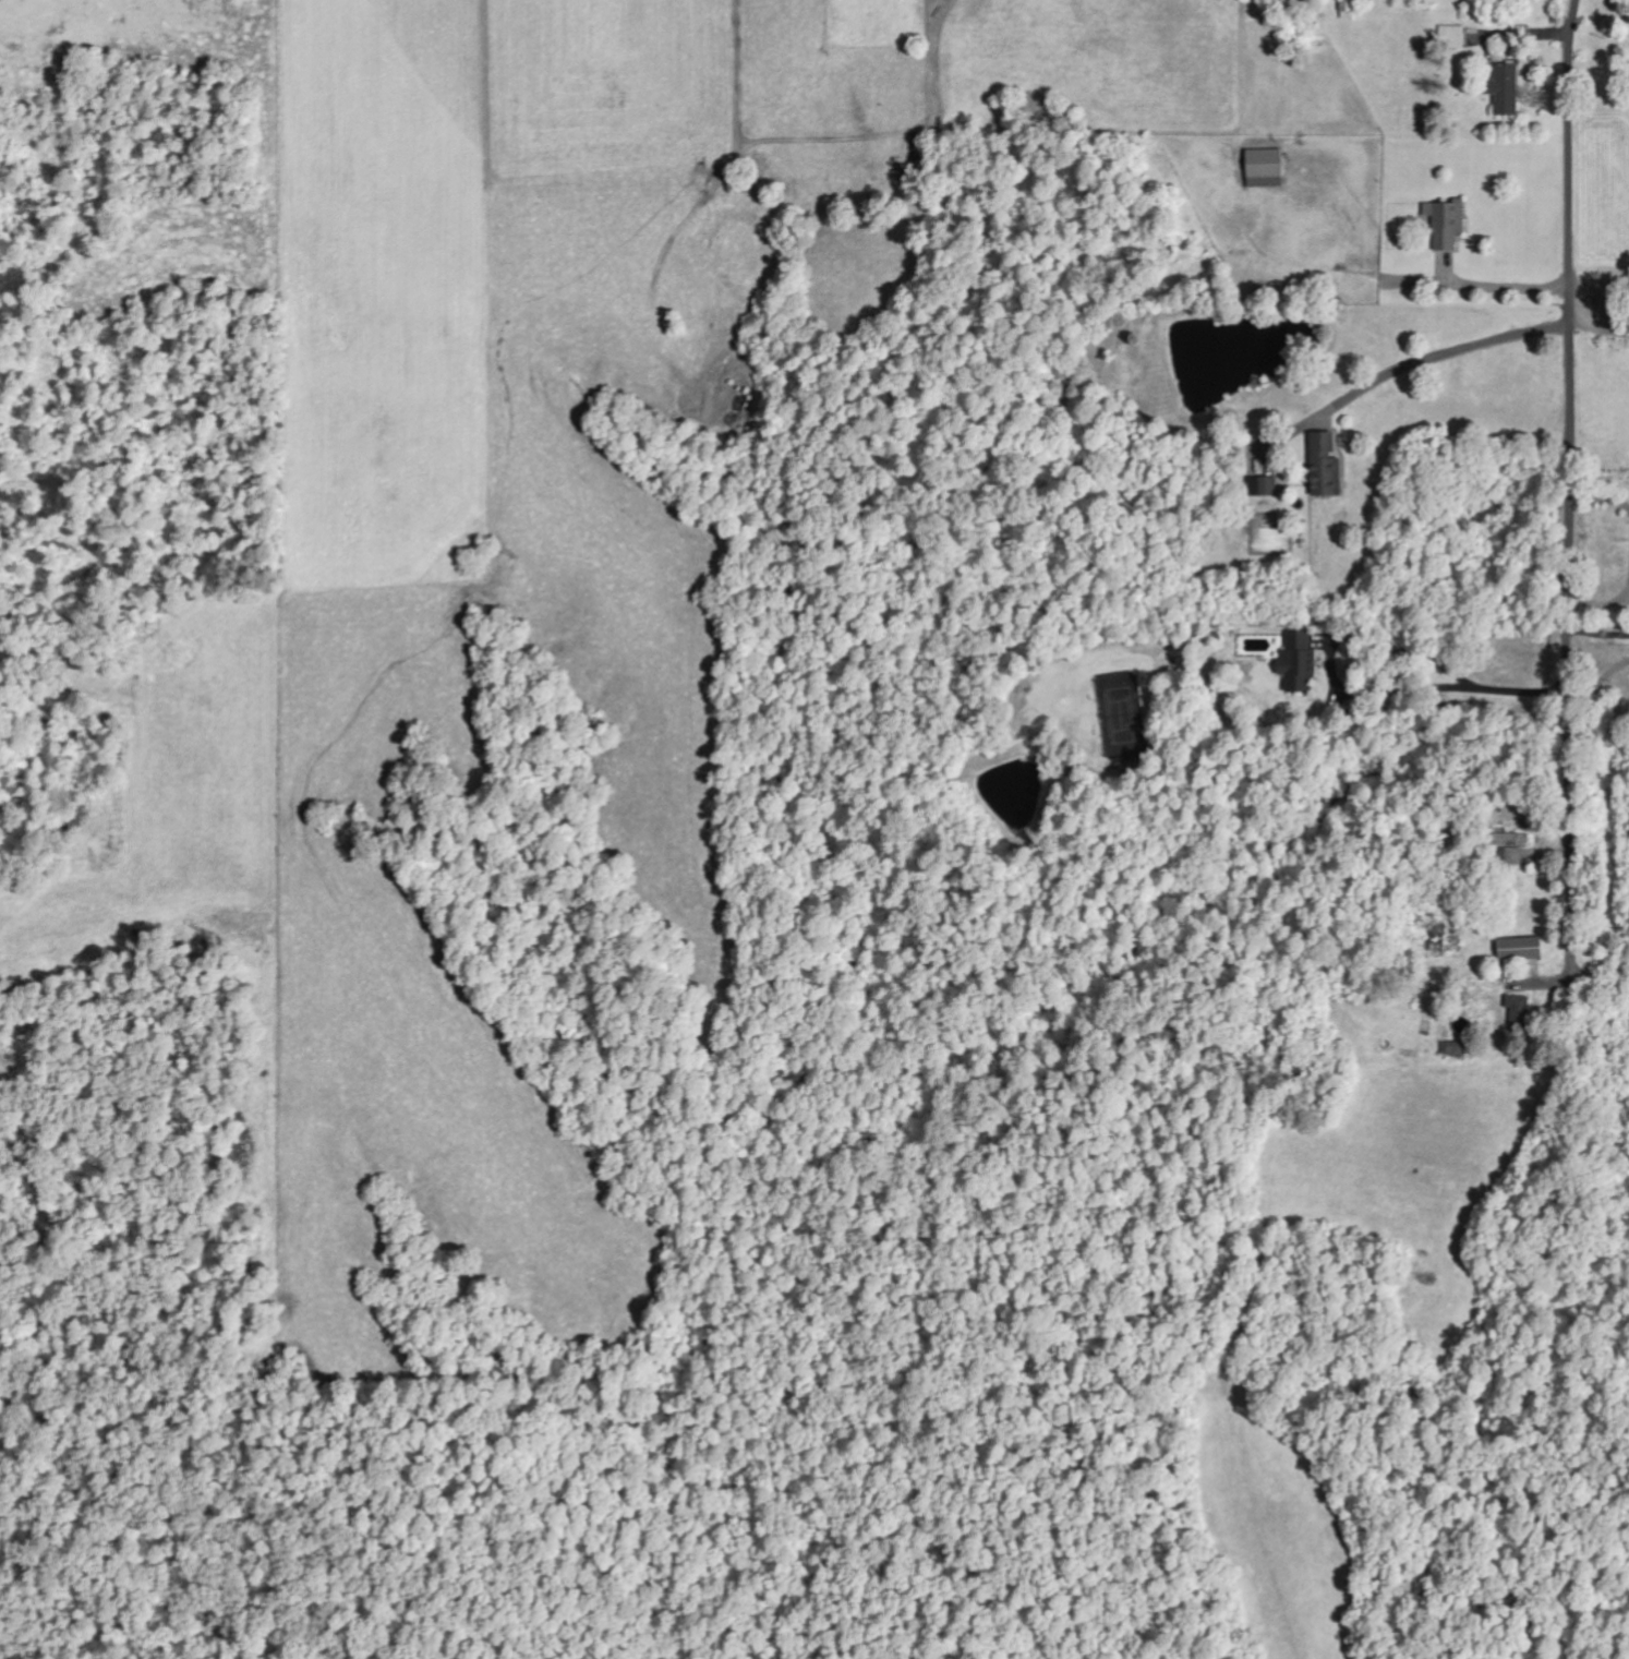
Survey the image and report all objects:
building: (1348, 10)
building: (1451, 38)
building: (1507, 91)
building: (1266, 169)
building: (1448, 224)
road: (1571, 438)
building: (1327, 467)
building: (1262, 488)
building: (1301, 665)
building: (1511, 839)
building: (1513, 857)
building: (1523, 949)
building: (1519, 1012)
building: (1455, 1049)

